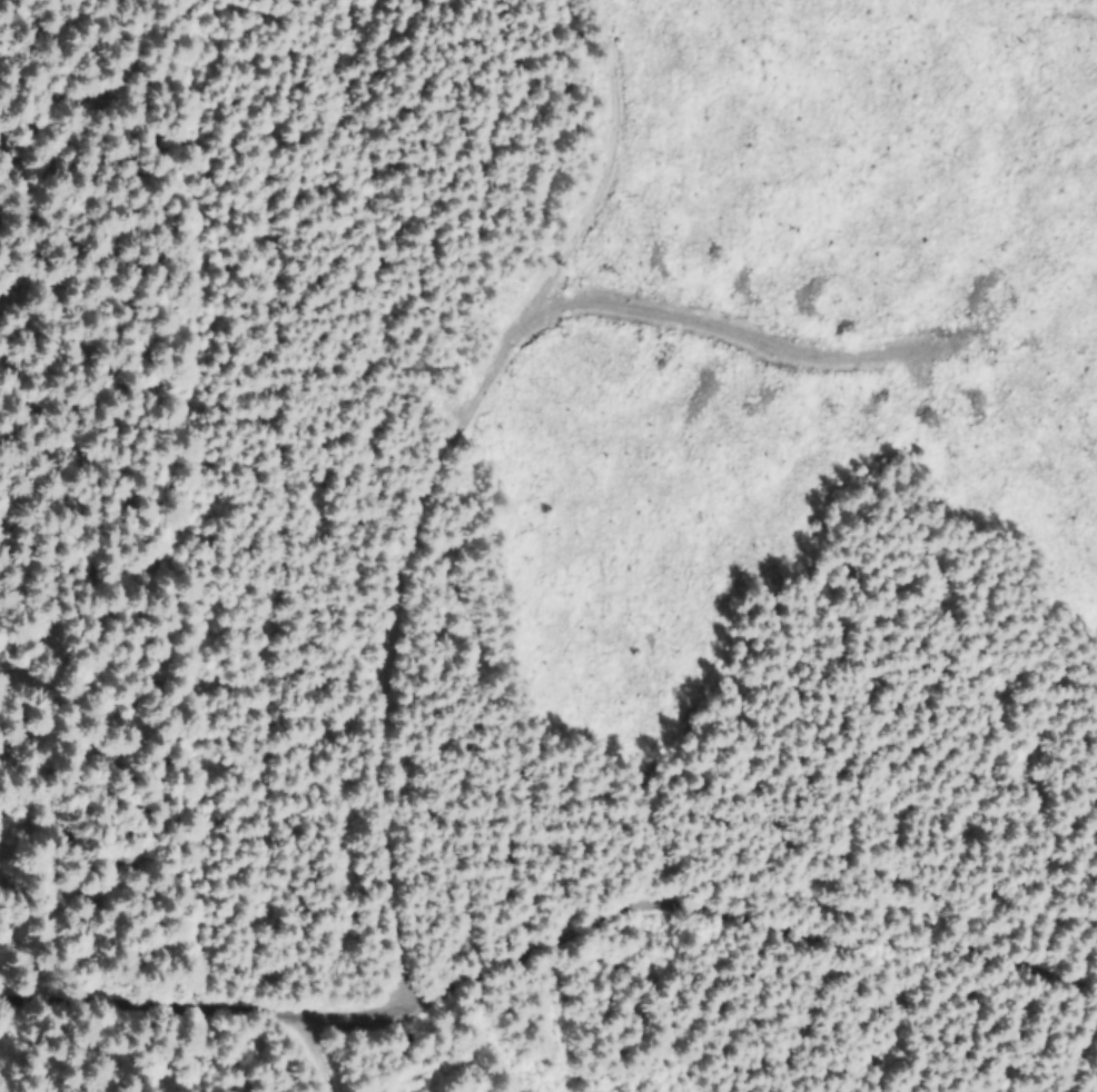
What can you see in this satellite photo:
road: (547, 945)

